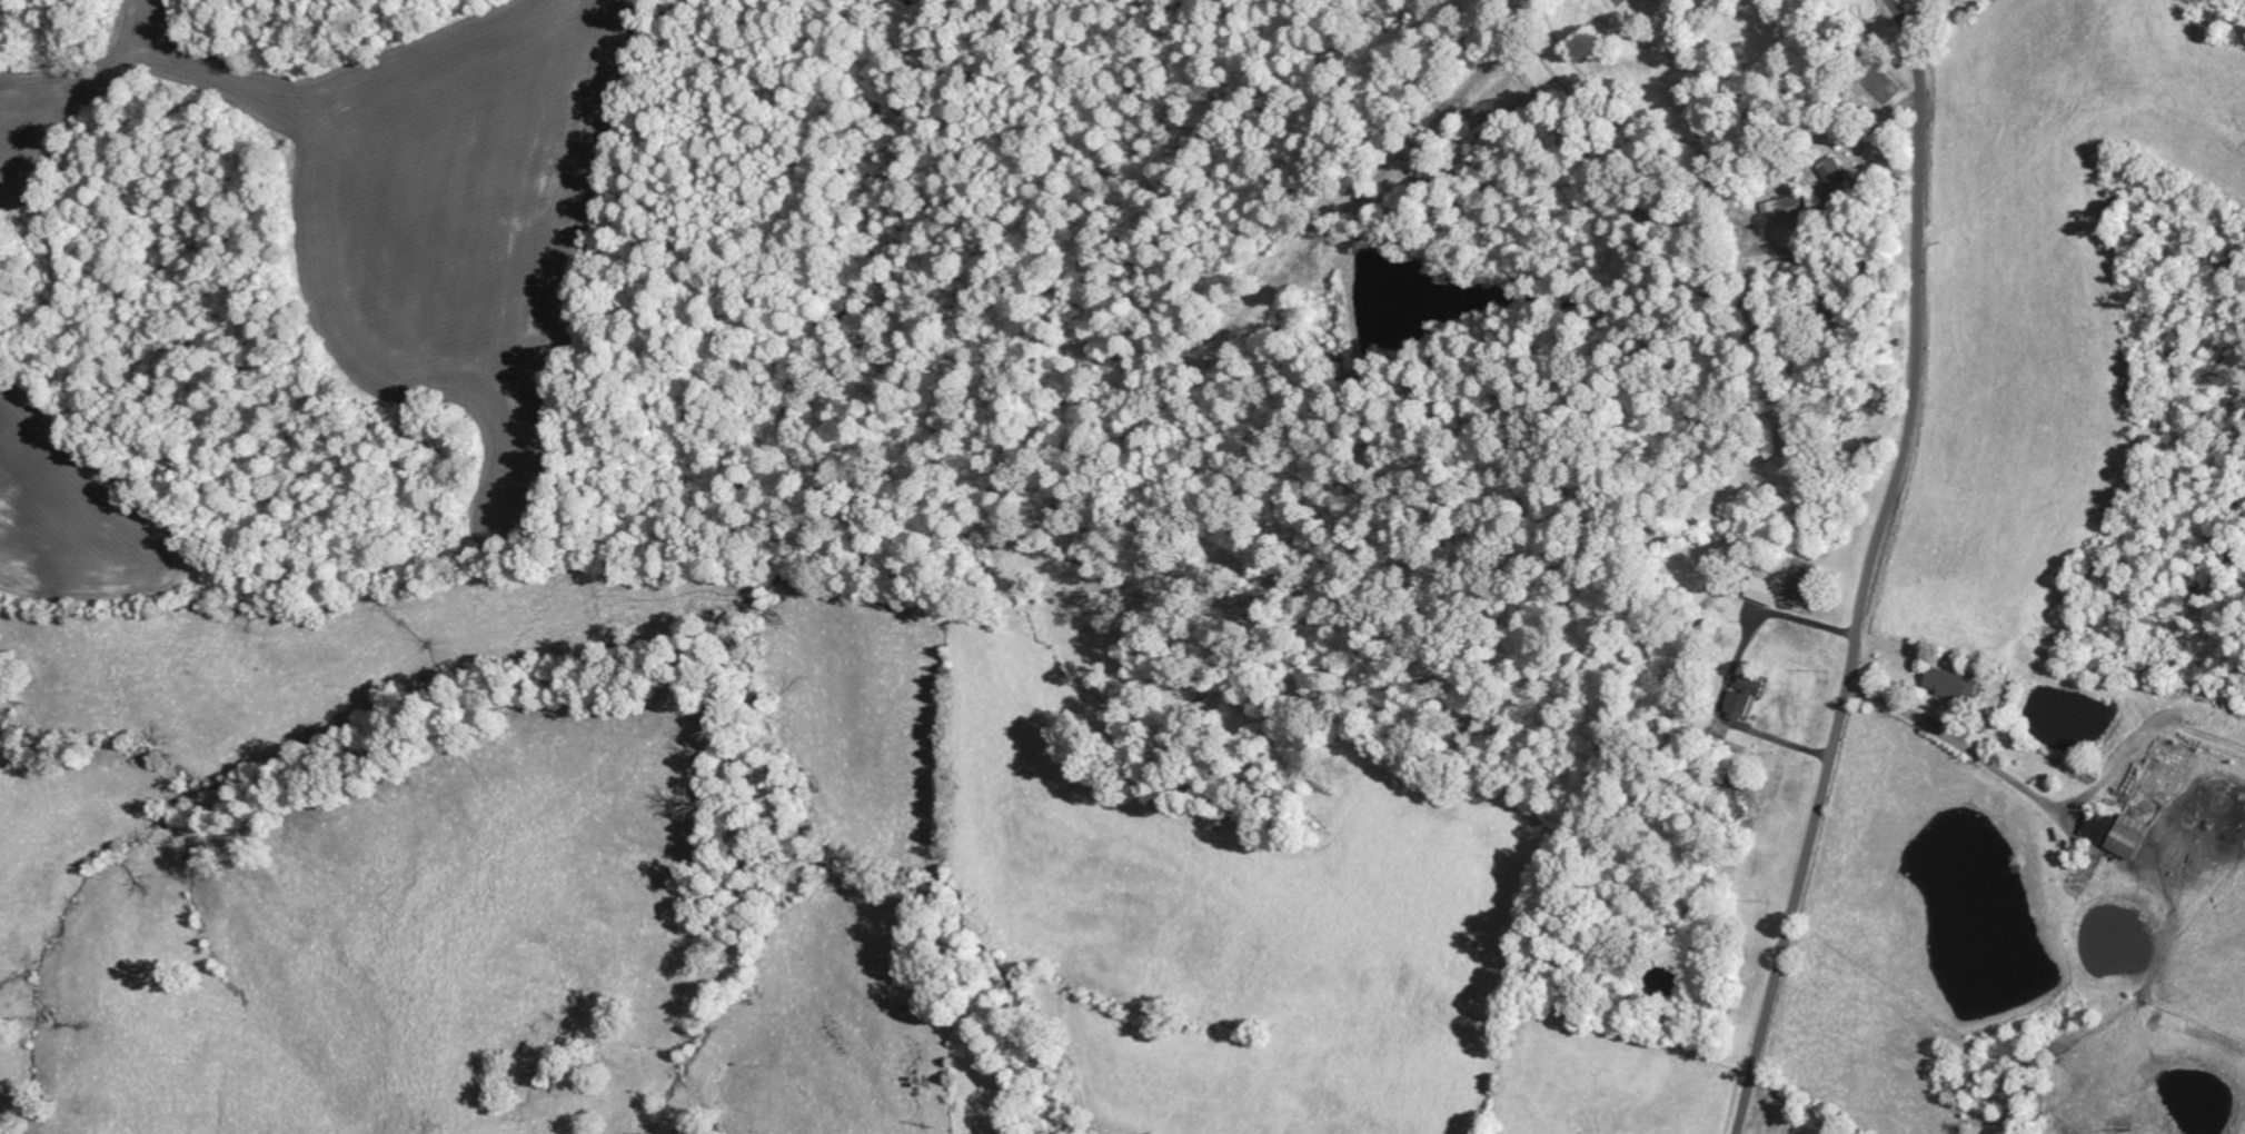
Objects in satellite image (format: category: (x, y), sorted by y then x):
building: (1835, 172)
building: (1782, 203)
road: (2039, 549)
road: (1870, 568)
building: (1766, 587)
building: (1958, 684)
building: (1746, 697)
building: (2120, 833)

